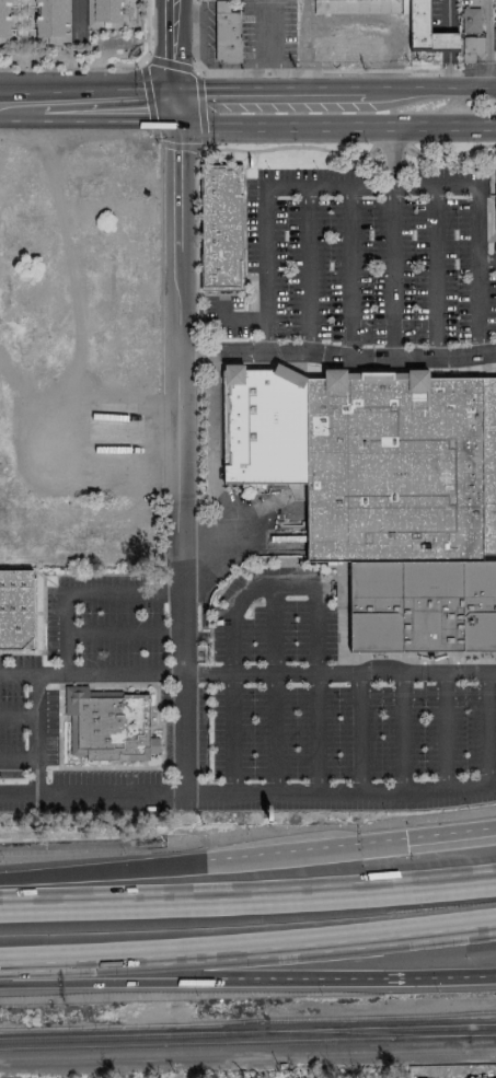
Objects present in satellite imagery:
road: (307, 11)
building: (102, 13)
road: (448, 14)
road: (199, 15)
building: (51, 20)
building: (3, 21)
building: (470, 21)
road: (379, 24)
building: (425, 28)
road: (145, 32)
building: (224, 33)
road: (448, 42)
road: (486, 44)
building: (494, 45)
road: (266, 49)
building: (470, 49)
road: (170, 53)
road: (305, 55)
road: (70, 63)
road: (169, 66)
road: (434, 70)
road: (448, 70)
road: (221, 73)
road: (428, 88)
road: (264, 89)
road: (21, 105)
road: (106, 105)
traffic signals: (170, 105)
road: (330, 127)
road: (176, 144)
road: (295, 146)
road: (389, 148)
road: (215, 149)
road: (450, 153)
road: (451, 185)
building: (495, 200)
road: (264, 207)
building: (220, 227)
road: (158, 232)
road: (194, 241)
parking lot: (361, 259)
road: (308, 270)
road: (349, 271)
road: (391, 271)
road: (434, 273)
road: (476, 309)
road: (218, 310)
road: (241, 318)
road: (196, 355)
road: (335, 356)
road: (212, 364)
road: (361, 369)
road: (195, 442)
road: (175, 449)
road: (214, 459)
building: (370, 459)
road: (491, 557)
road: (280, 587)
road: (80, 593)
building: (422, 607)
building: (15, 610)
parking lot: (106, 622)
road: (274, 630)
road: (120, 633)
road: (372, 656)
road: (337, 673)
road: (90, 674)
parking lot: (328, 703)
road: (18, 714)
parking lot: (23, 719)
building: (107, 725)
road: (486, 728)
road: (443, 730)
road: (357, 732)
road: (402, 732)
road: (36, 733)
road: (232, 733)
road: (274, 733)
road: (315, 733)
road: (18, 755)
road: (91, 792)
road: (339, 792)
parking lot: (211, 793)
road: (451, 833)
traffic signals: (406, 838)
road: (201, 859)
road: (247, 896)
road: (247, 949)
road: (439, 976)
road: (191, 977)
railway: (247, 1021)
railway: (381, 1029)
railway: (367, 1033)
railway: (134, 1035)
railway: (482, 1035)
railway: (233, 1042)
road: (247, 1057)

